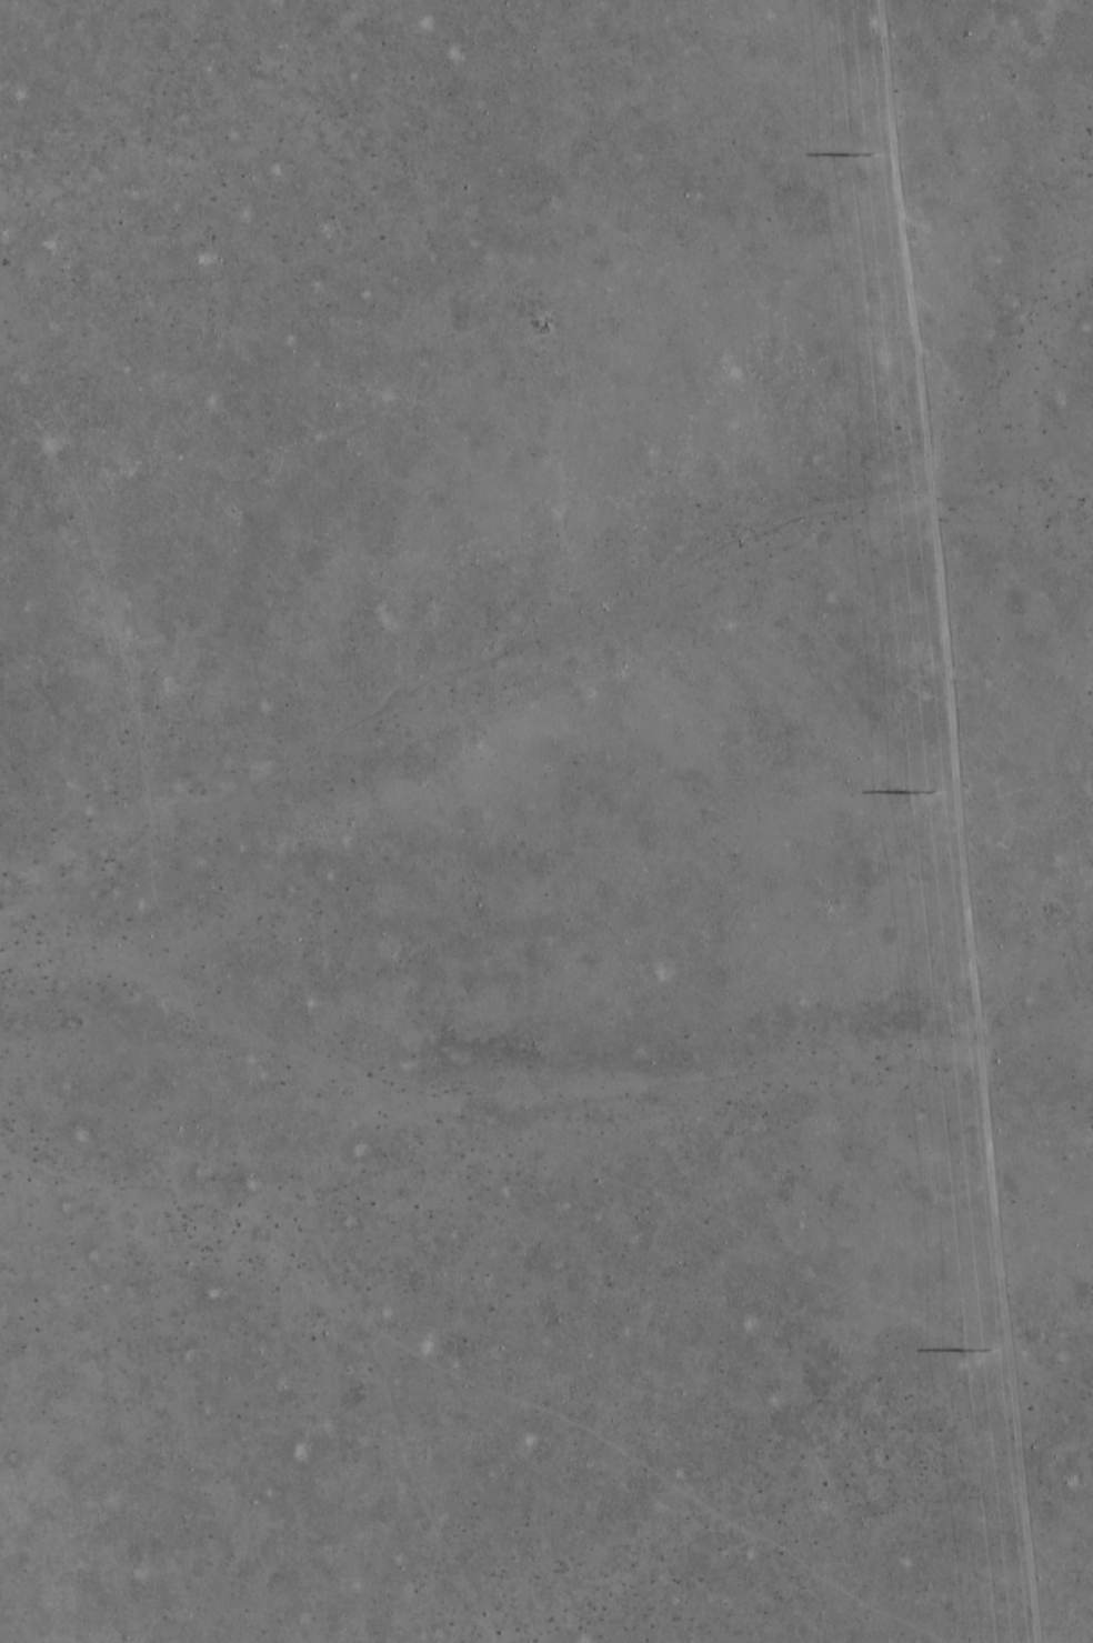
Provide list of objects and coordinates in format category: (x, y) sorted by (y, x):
power tower: (870, 152)
power tower: (935, 792)
road: (943, 821)
power tower: (983, 1353)

